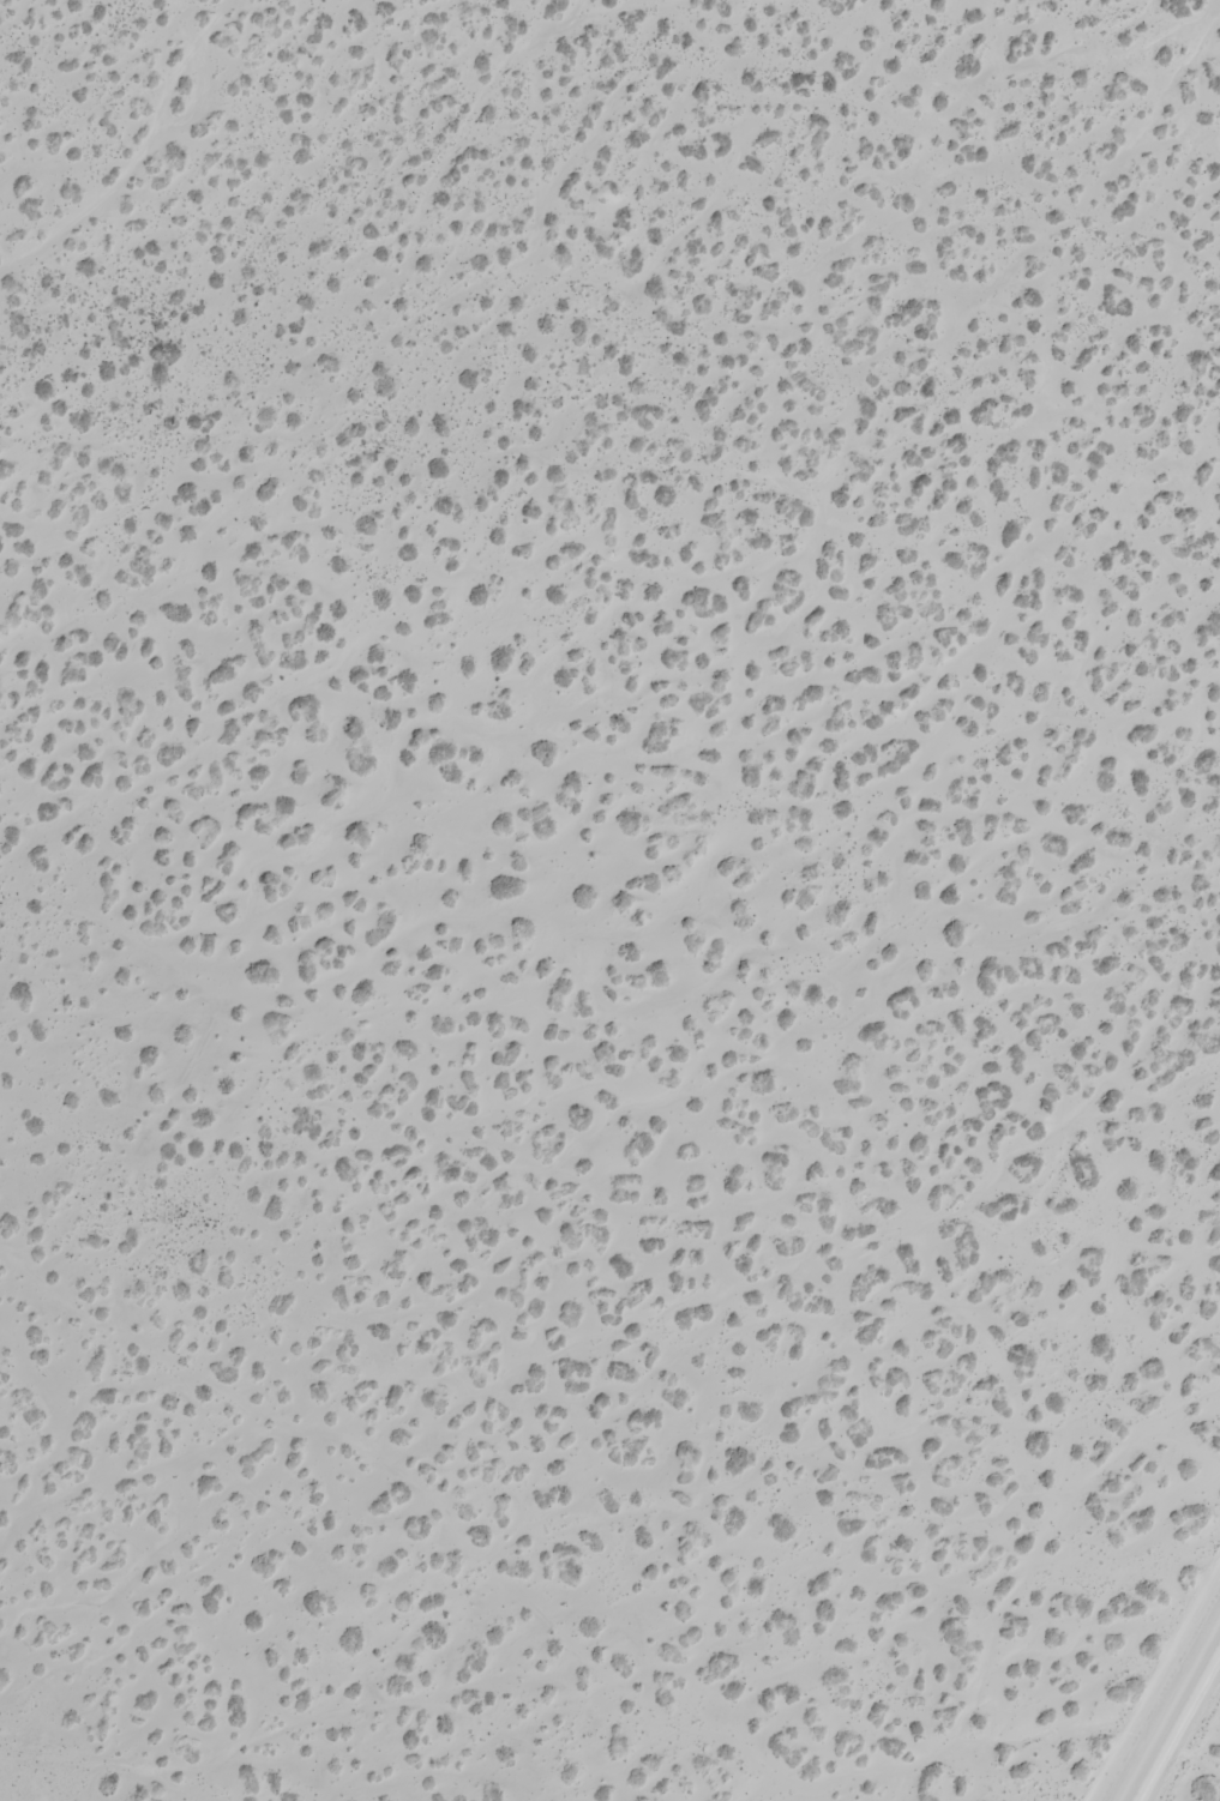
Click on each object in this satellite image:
road: (1167, 1706)

